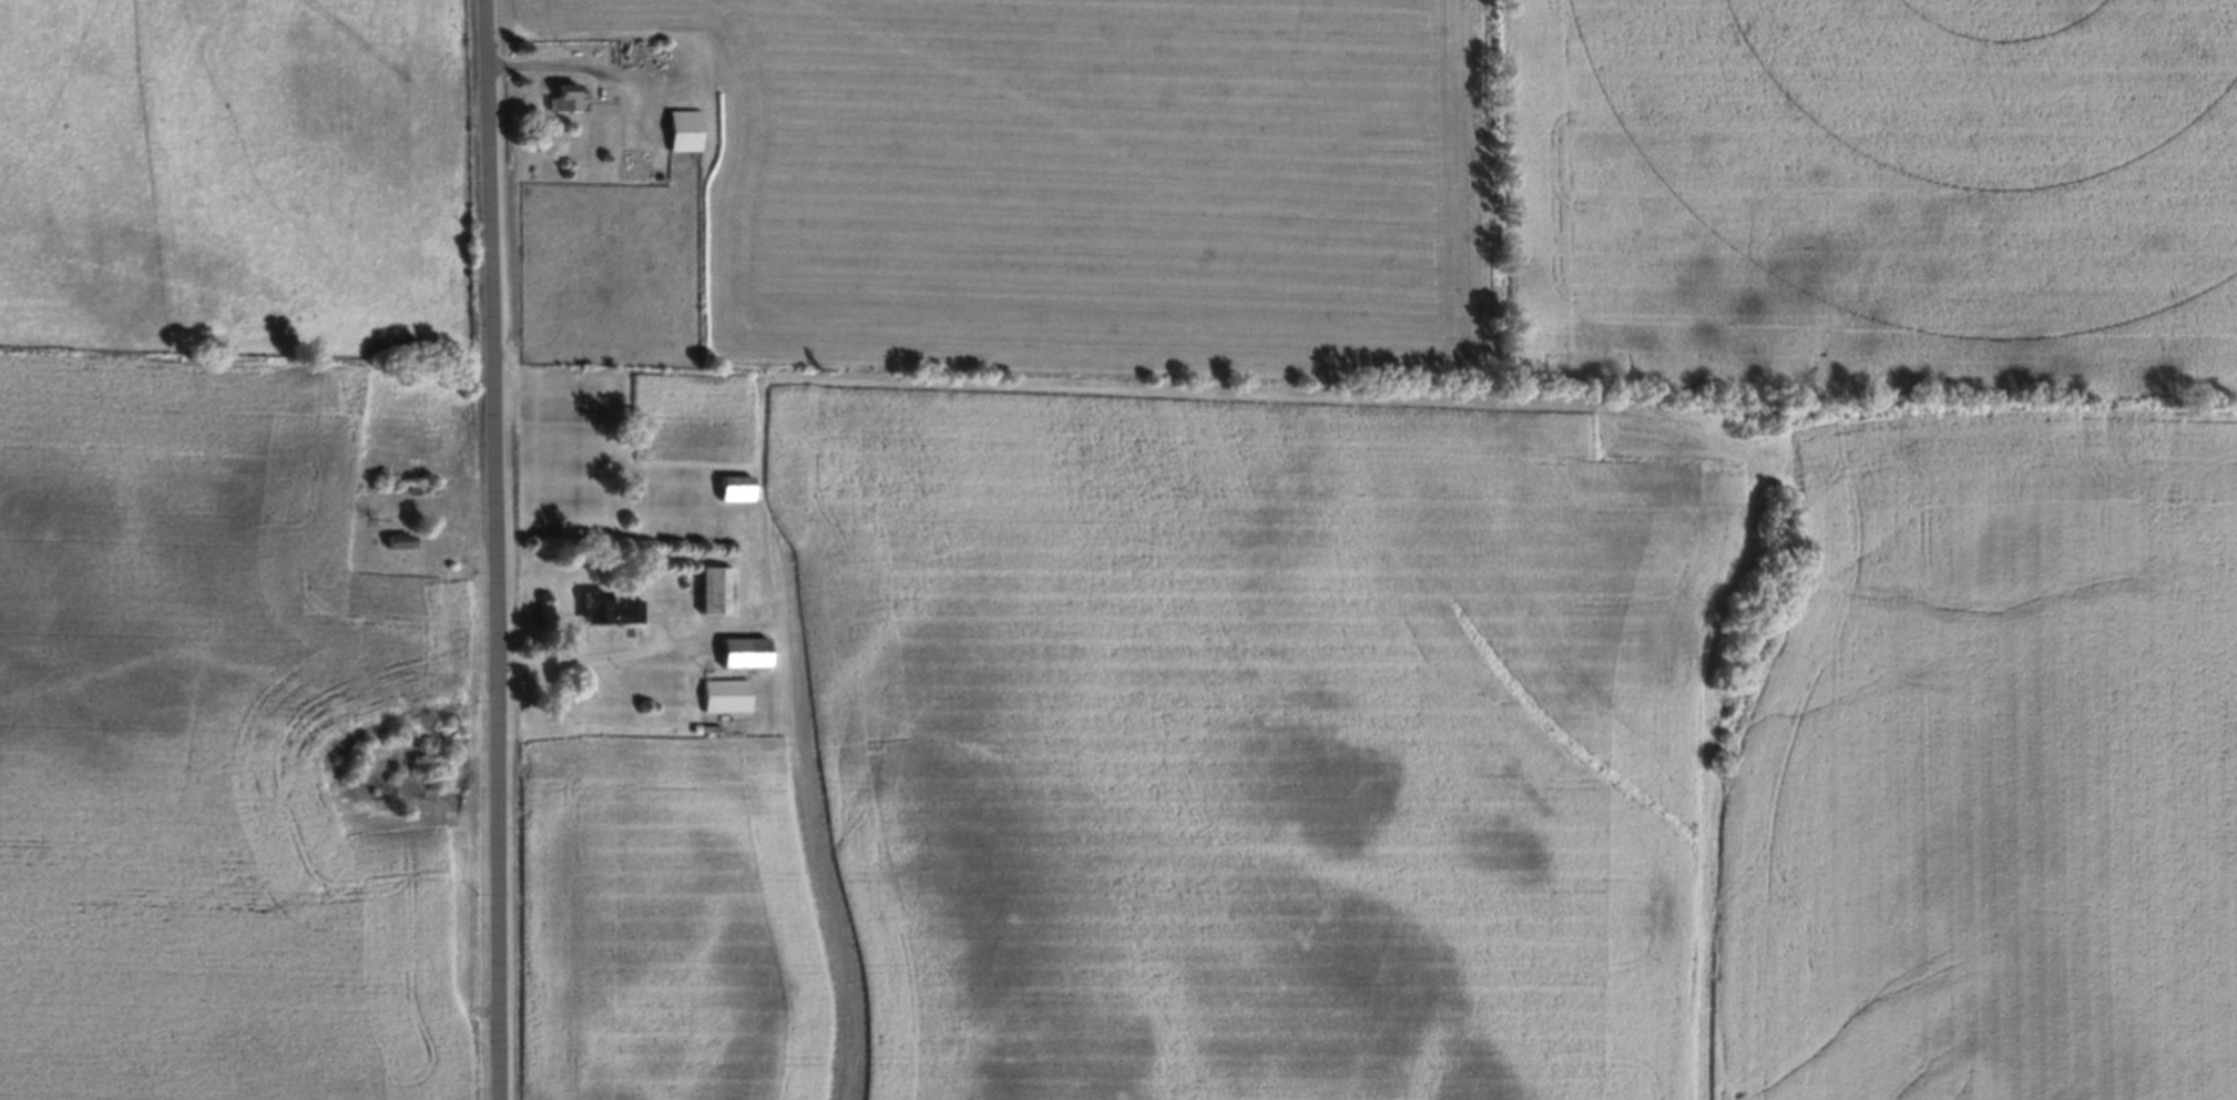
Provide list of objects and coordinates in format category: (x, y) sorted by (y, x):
building: (564, 96)
building: (683, 130)
building: (732, 487)
building: (396, 539)
road: (481, 550)
building: (713, 589)
building: (606, 608)
building: (740, 651)
building: (724, 694)

